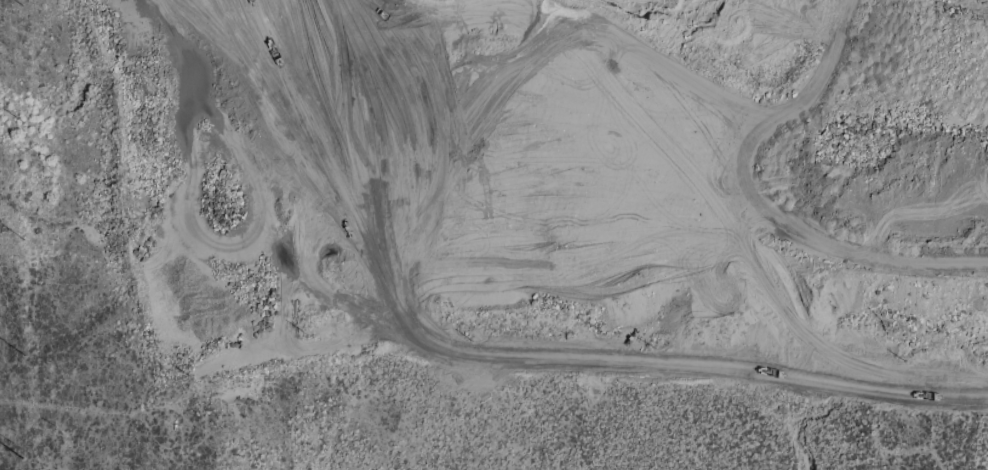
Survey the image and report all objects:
road: (385, 6)
quarry: (557, 183)

